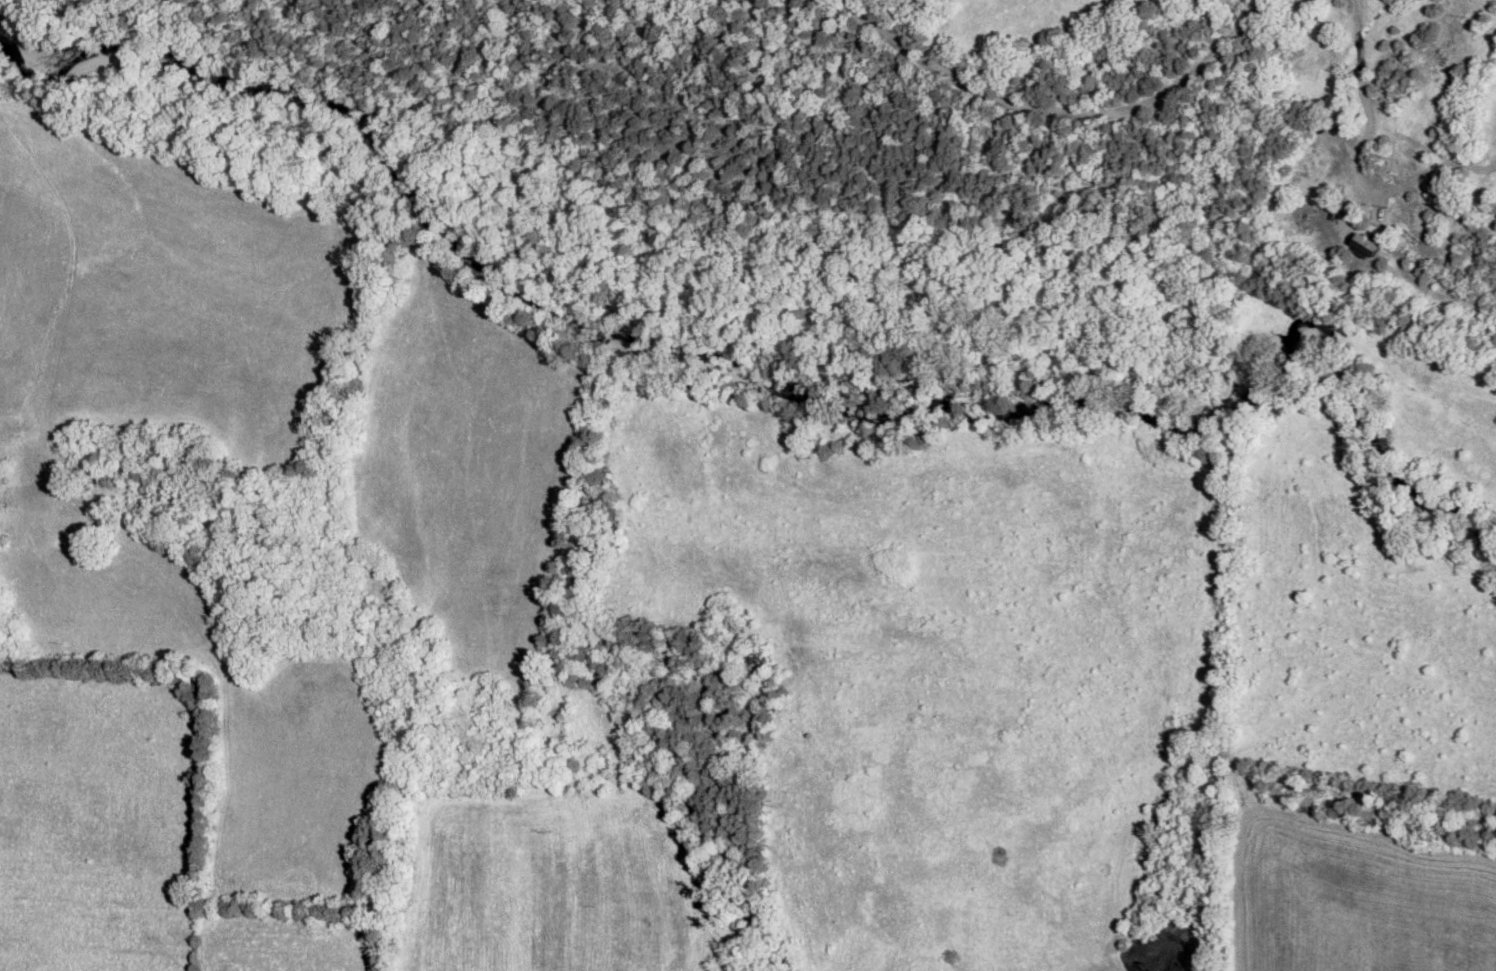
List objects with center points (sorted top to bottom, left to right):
road: (1068, 109)
road: (1357, 164)
building: (1367, 244)

